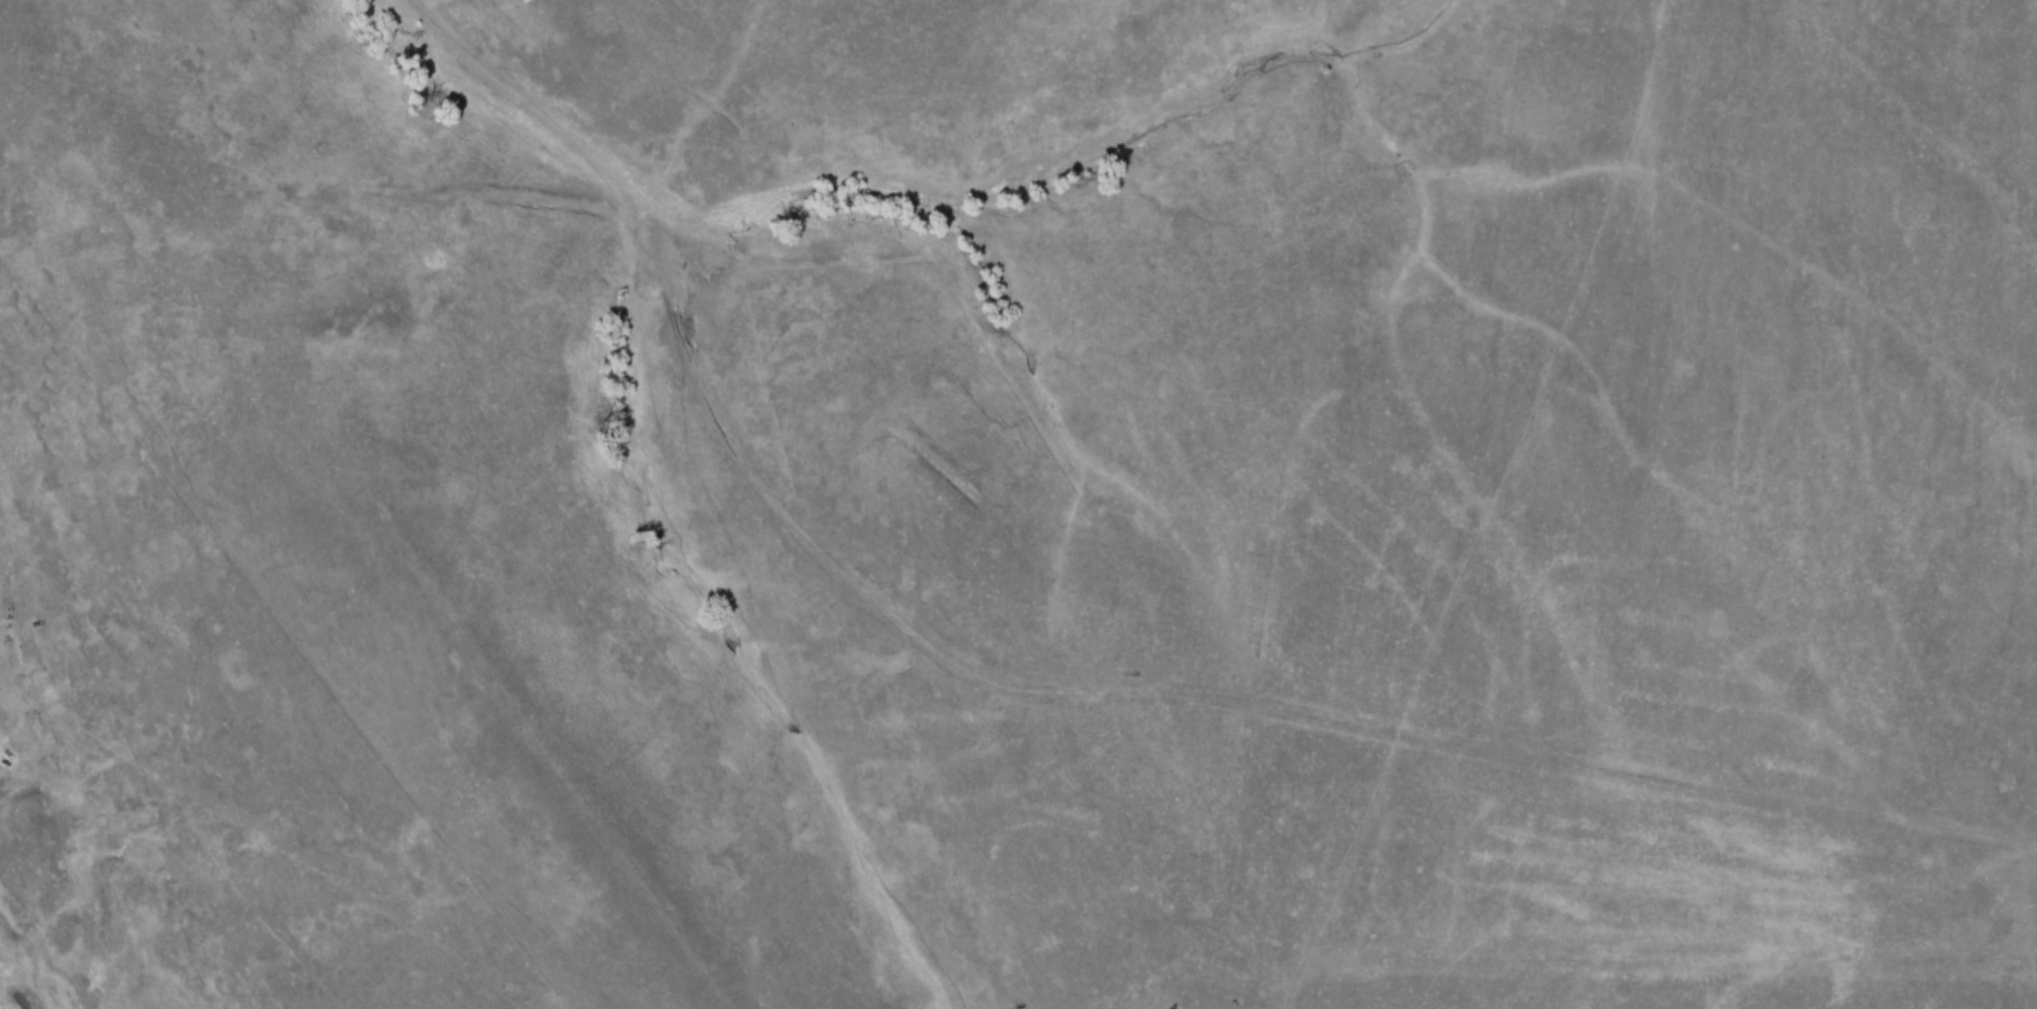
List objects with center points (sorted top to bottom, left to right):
road: (1065, 697)

